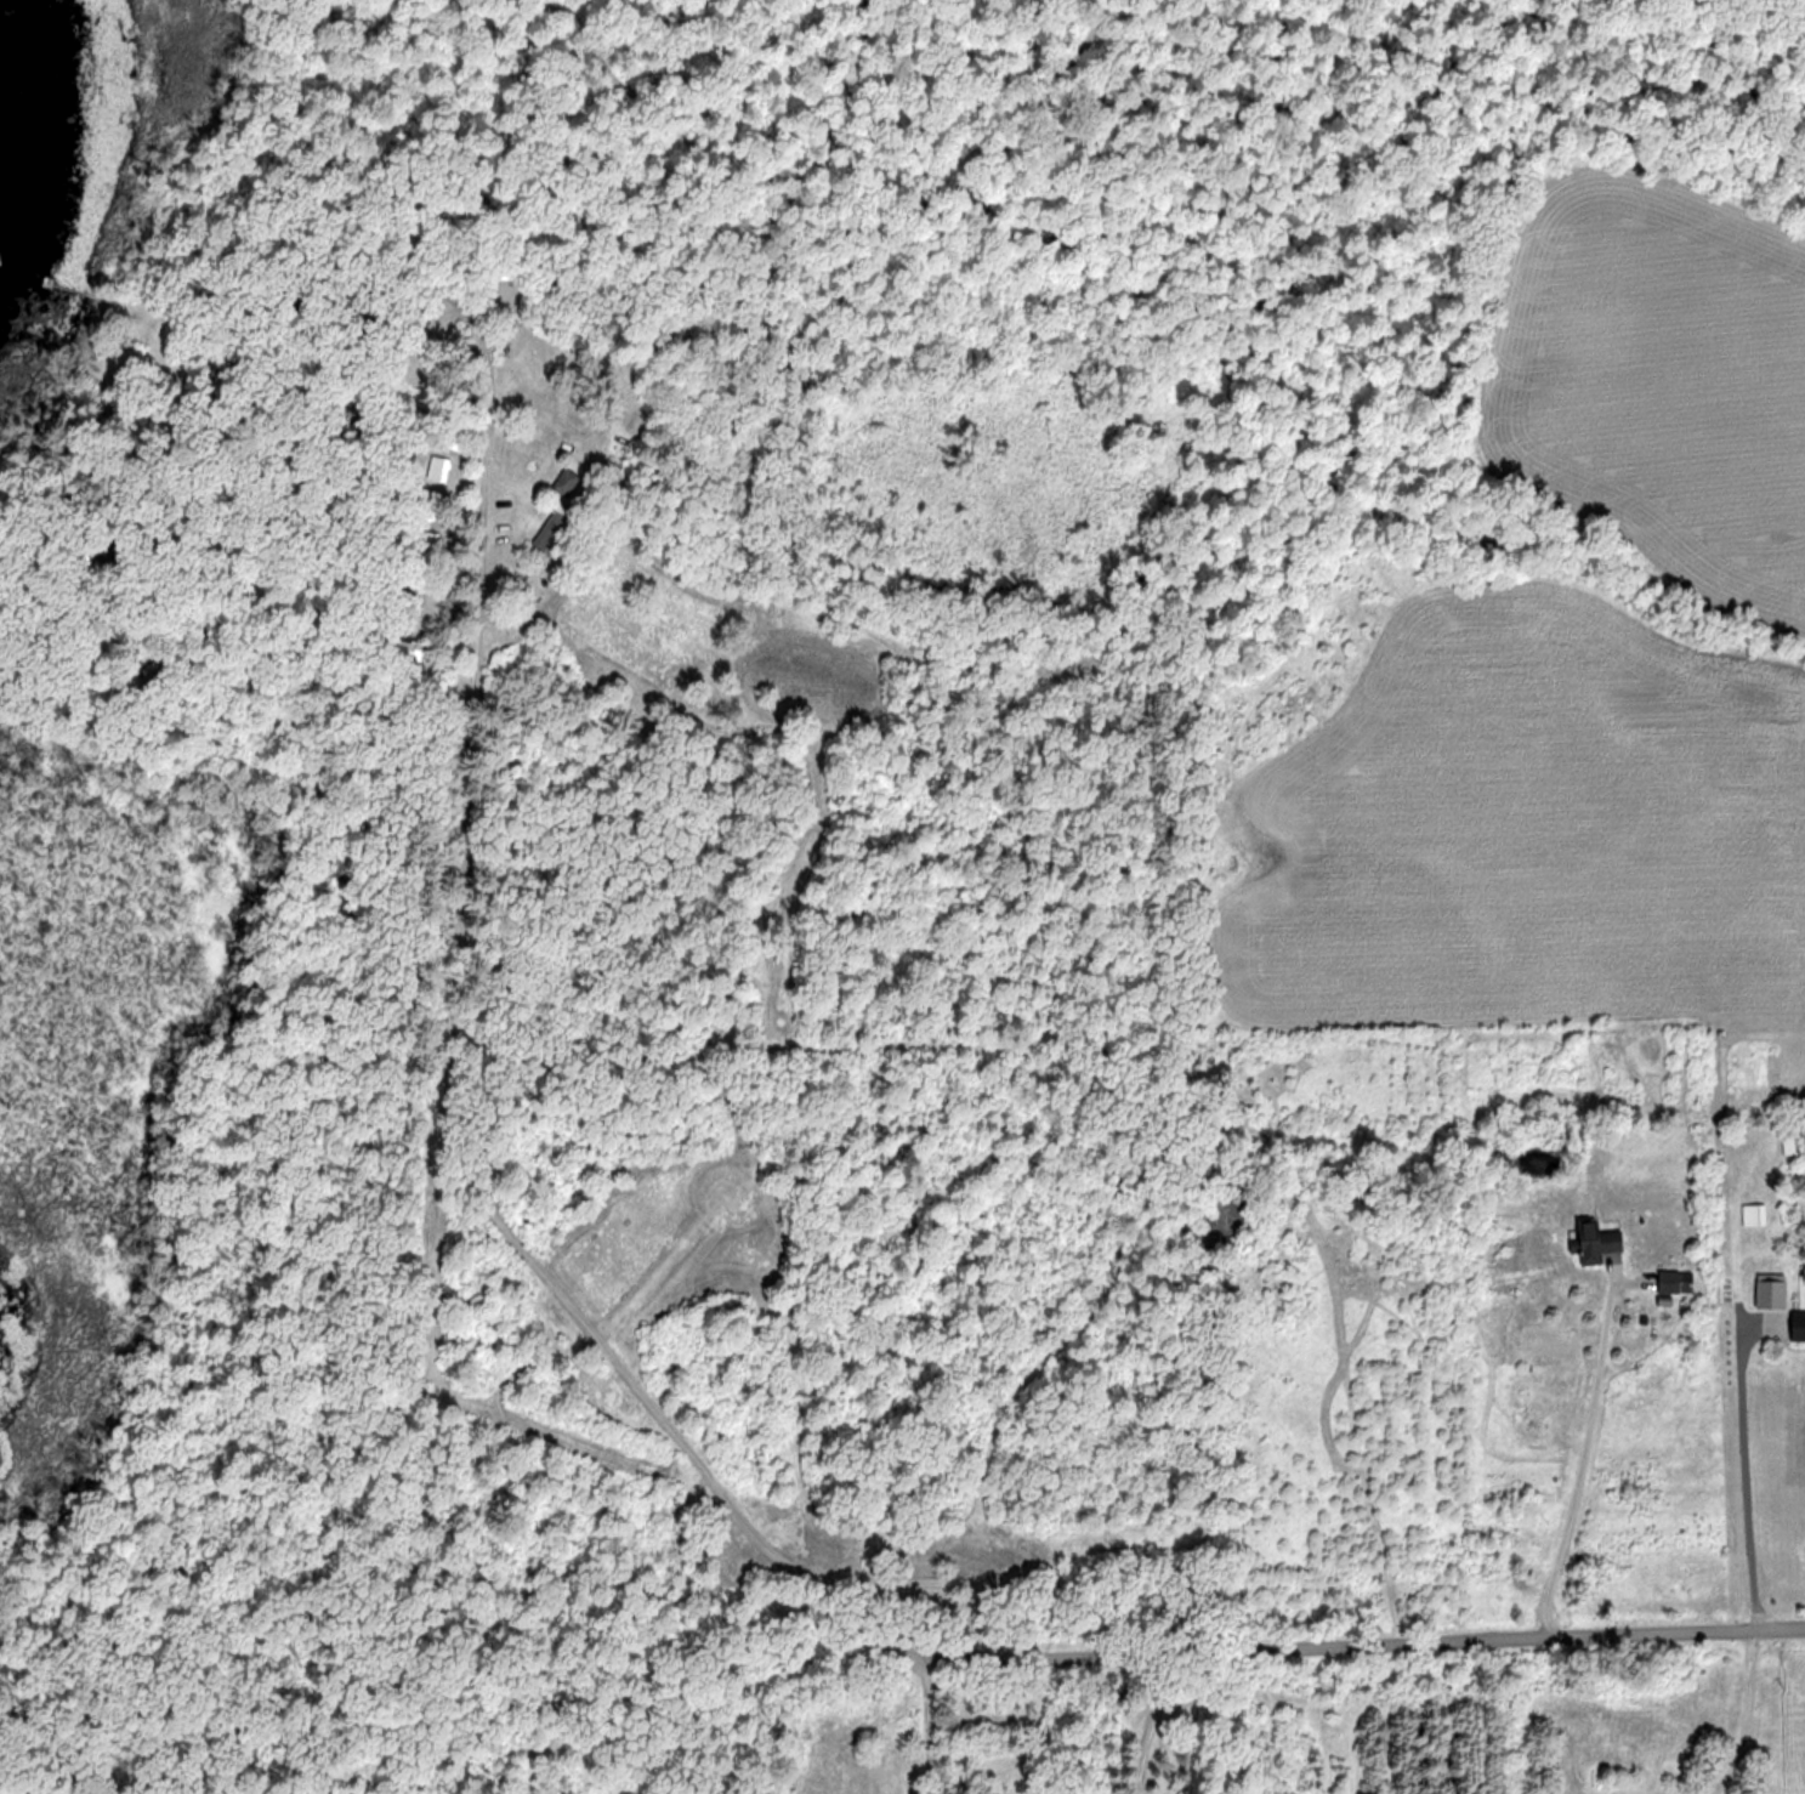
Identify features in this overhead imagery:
building: (430, 350)
building: (352, 403)
building: (454, 435)
building: (337, 439)
building: (198, 453)
building: (438, 467)
building: (307, 476)
building: (564, 481)
building: (421, 510)
building: (555, 529)
building: (333, 540)
building: (426, 541)
building: (225, 544)
building: (408, 602)
building: (409, 646)
park: (35, 919)
road: (454, 970)
building: (1753, 1214)
building: (1594, 1241)
building: (1668, 1282)
building: (1798, 1324)
road: (1584, 1461)
road: (1748, 1477)
road: (1328, 1642)
road: (1154, 1716)
road: (1747, 1724)
road: (927, 1726)

